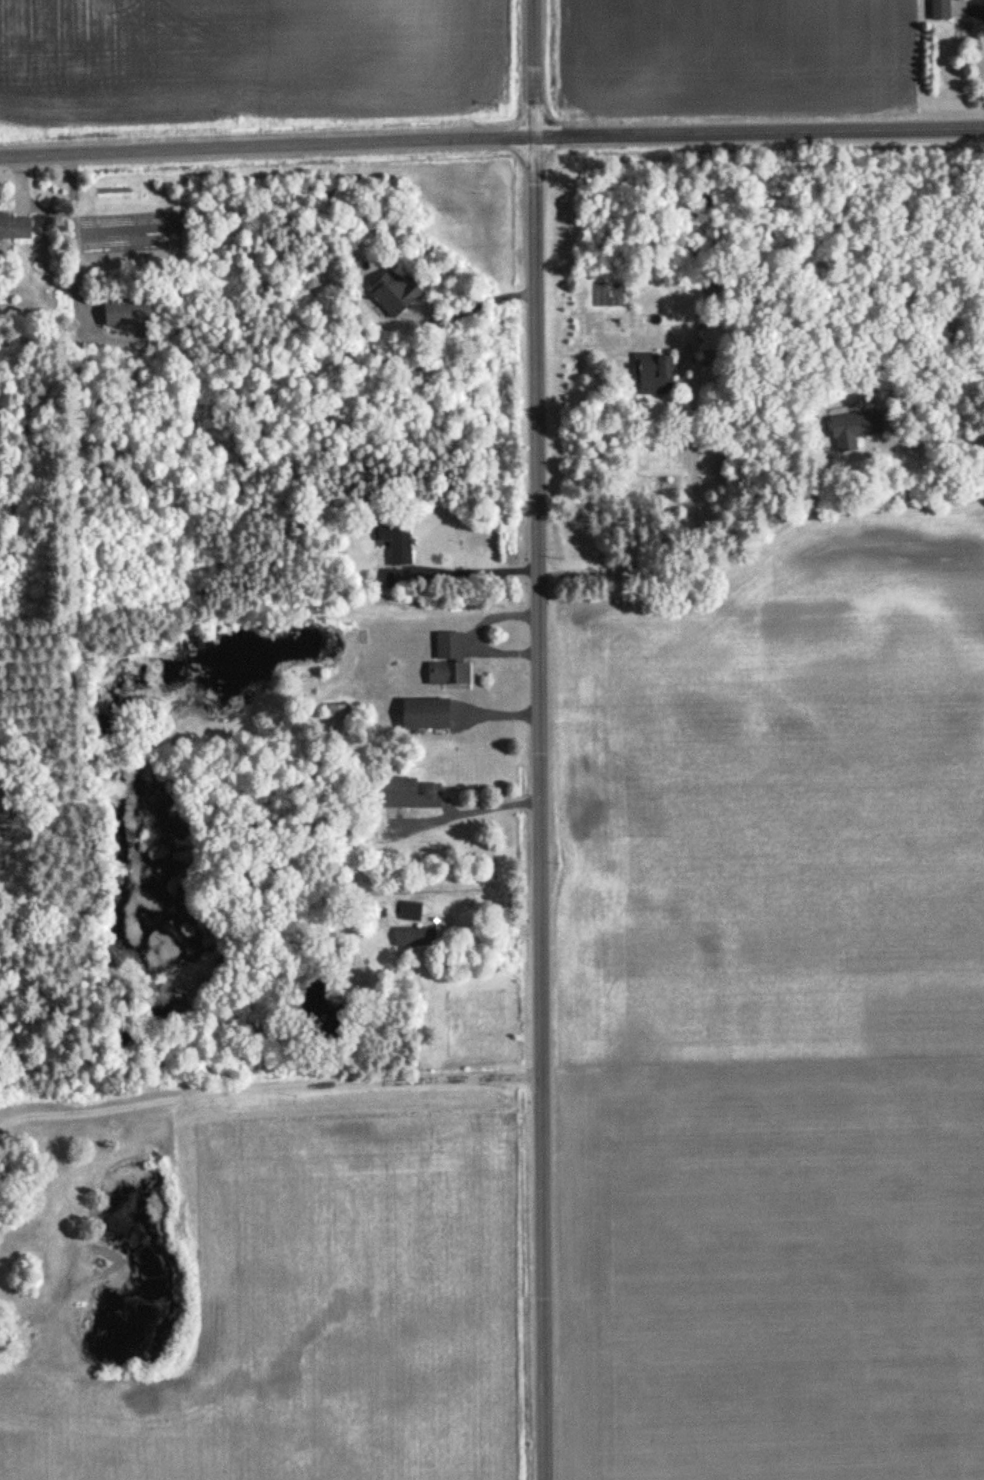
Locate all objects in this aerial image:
building: (939, 10)
traffic signals: (535, 137)
road: (491, 138)
building: (14, 227)
building: (391, 293)
road: (484, 302)
building: (123, 313)
building: (710, 336)
building: (651, 375)
road: (981, 448)
road: (833, 516)
building: (393, 543)
road: (697, 545)
road: (473, 574)
building: (390, 579)
road: (476, 638)
building: (446, 663)
building: (421, 715)
building: (336, 717)
road: (538, 740)
building: (408, 795)
road: (461, 815)
road: (482, 927)
building: (413, 938)
road: (269, 1083)

